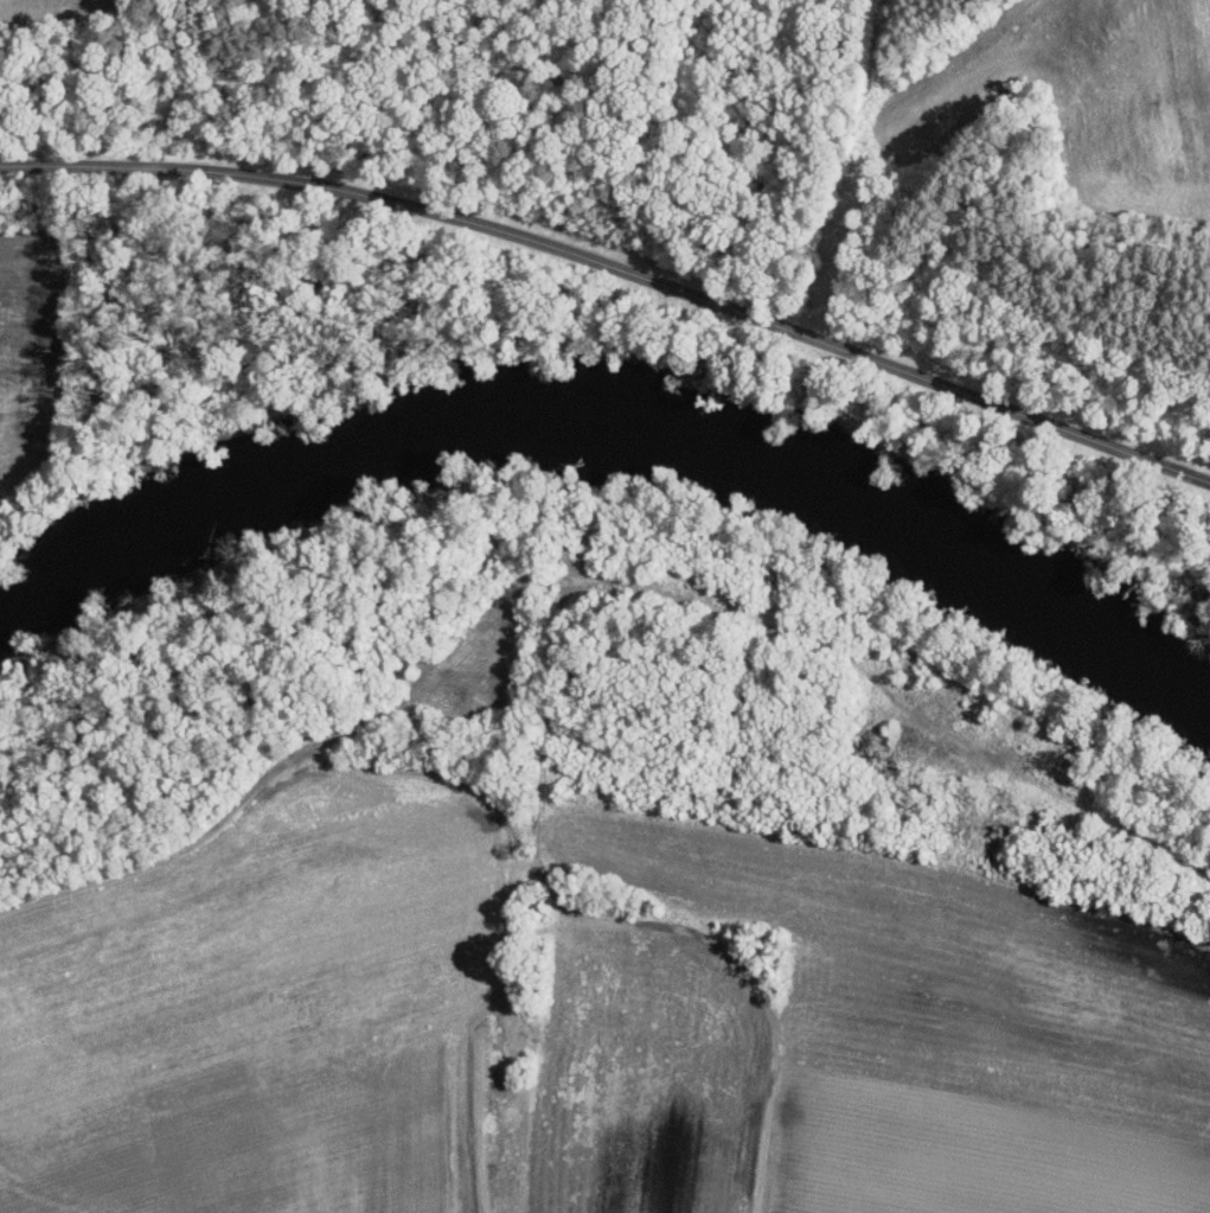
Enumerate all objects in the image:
road: (615, 269)
river: (615, 432)
road: (620, 920)

